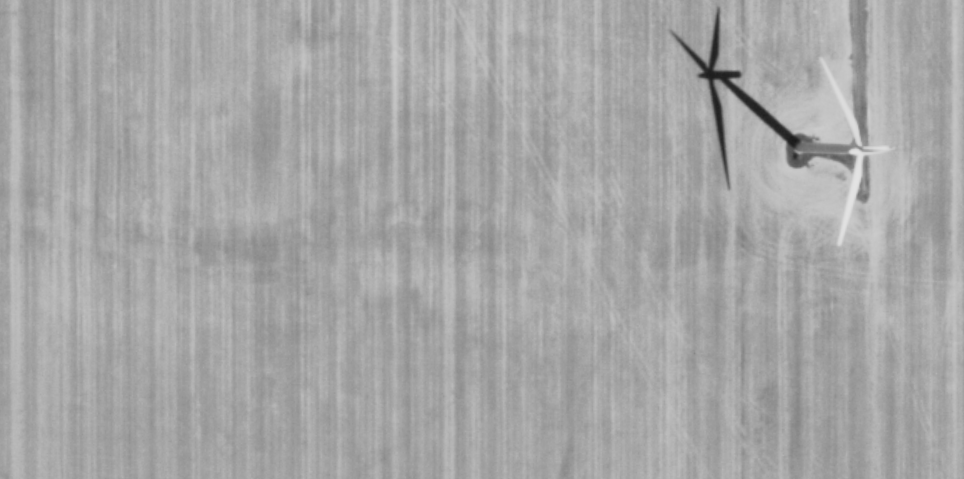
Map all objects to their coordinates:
road: (851, 93)
wind turbine: (803, 161)

